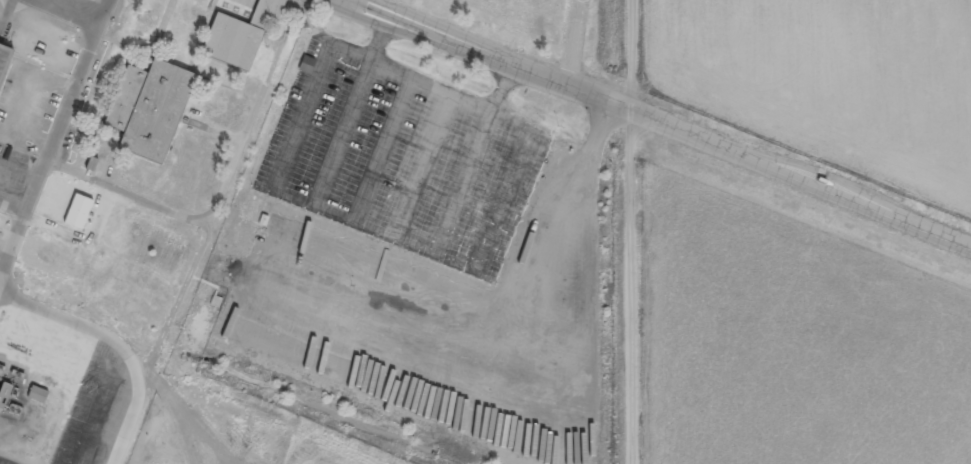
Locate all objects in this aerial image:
building: (240, 34)
road: (474, 53)
building: (4, 62)
building: (307, 63)
building: (150, 107)
road: (790, 179)
building: (79, 210)
road: (609, 232)
building: (38, 393)

